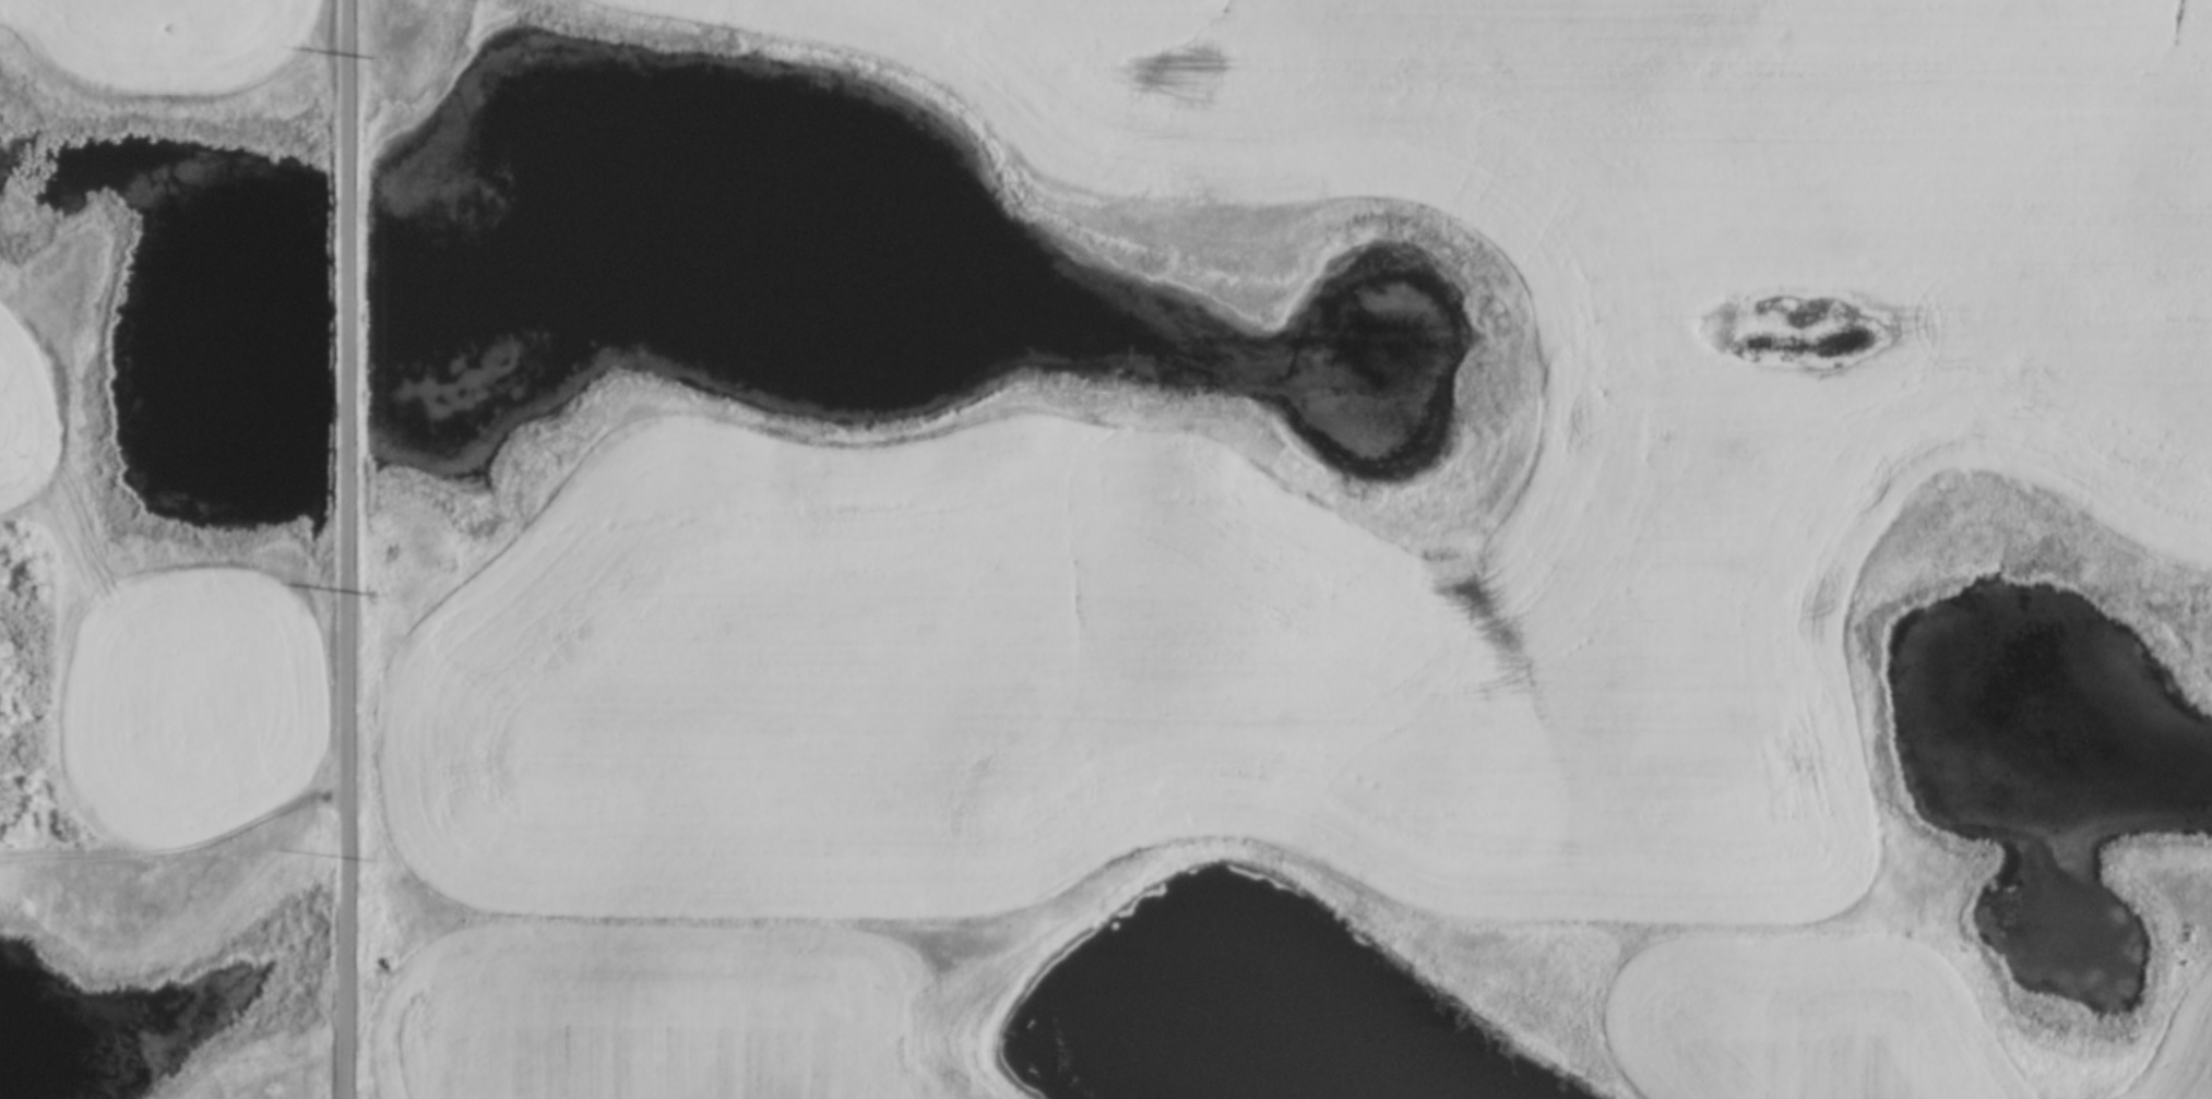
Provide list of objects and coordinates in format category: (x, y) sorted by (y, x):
road: (347, 549)
road: (191, 848)

